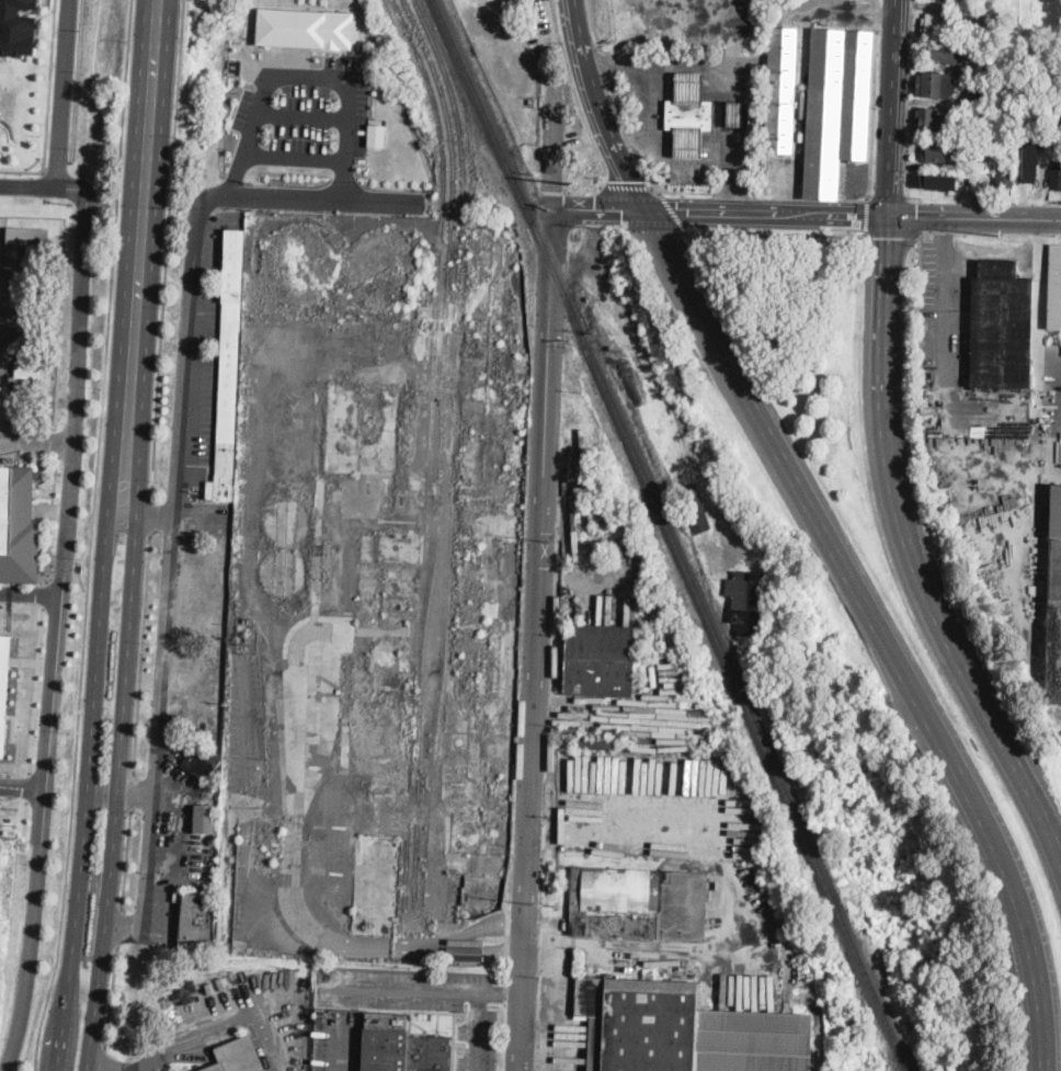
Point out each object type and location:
road: (593, 22)
building: (937, 23)
building: (18, 27)
building: (306, 27)
building: (946, 50)
road: (606, 64)
road: (720, 71)
road: (306, 77)
building: (935, 84)
road: (48, 86)
building: (689, 87)
building: (780, 90)
road: (61, 92)
road: (152, 98)
building: (976, 98)
road: (644, 99)
road: (874, 99)
road: (579, 103)
road: (618, 104)
building: (836, 107)
road: (598, 109)
road: (895, 109)
building: (973, 112)
building: (735, 114)
building: (689, 115)
road: (301, 116)
building: (756, 119)
building: (932, 122)
building: (376, 135)
road: (628, 136)
building: (688, 144)
building: (939, 152)
road: (293, 158)
building: (1030, 161)
road: (665, 164)
building: (986, 167)
road: (21, 170)
road: (647, 170)
road: (49, 171)
building: (1056, 175)
traffic signals: (629, 180)
building: (938, 181)
building: (1006, 181)
power tower: (578, 184)
road: (627, 185)
road: (683, 192)
road: (889, 198)
road: (619, 206)
road: (607, 210)
traffic signals: (621, 212)
road: (674, 213)
traffic signals: (684, 213)
road: (853, 216)
road: (867, 216)
traffic signals: (857, 217)
traffic signals: (916, 218)
road: (913, 220)
road: (0, 231)
road: (778, 233)
building: (27, 235)
power tower: (1002, 235)
road: (889, 236)
traffic signals: (891, 237)
road: (166, 249)
road: (990, 251)
building: (35, 265)
road: (186, 272)
building: (1054, 288)
building: (24, 298)
building: (34, 307)
road: (946, 315)
road: (136, 324)
building: (1002, 327)
building: (33, 347)
building: (27, 367)
building: (229, 368)
building: (26, 390)
building: (3, 399)
road: (36, 440)
road: (59, 446)
building: (695, 510)
building: (1056, 512)
road: (122, 515)
road: (50, 517)
road: (150, 517)
building: (18, 527)
railway: (669, 535)
road: (90, 536)
power tower: (561, 542)
road: (912, 552)
road: (62, 566)
road: (80, 578)
road: (61, 591)
road: (44, 592)
road: (31, 595)
building: (749, 602)
building: (1053, 625)
road: (878, 629)
road: (537, 636)
road: (140, 653)
building: (600, 660)
road: (160, 671)
building: (3, 682)
road: (36, 690)
road: (11, 740)
road: (91, 761)
road: (14, 762)
road: (122, 762)
building: (202, 763)
road: (22, 787)
road: (27, 787)
road: (130, 790)
road: (26, 817)
building: (207, 820)
road: (126, 858)
road: (144, 868)
road: (730, 902)
power tower: (544, 903)
building: (639, 903)
building: (197, 922)
road: (487, 924)
road: (119, 927)
road: (349, 942)
road: (488, 948)
road: (423, 988)
road: (111, 996)
road: (223, 1023)
road: (478, 1030)
building: (685, 1030)
building: (401, 1047)
road: (341, 1055)
building: (238, 1056)
road: (102, 1058)
road: (112, 1067)

